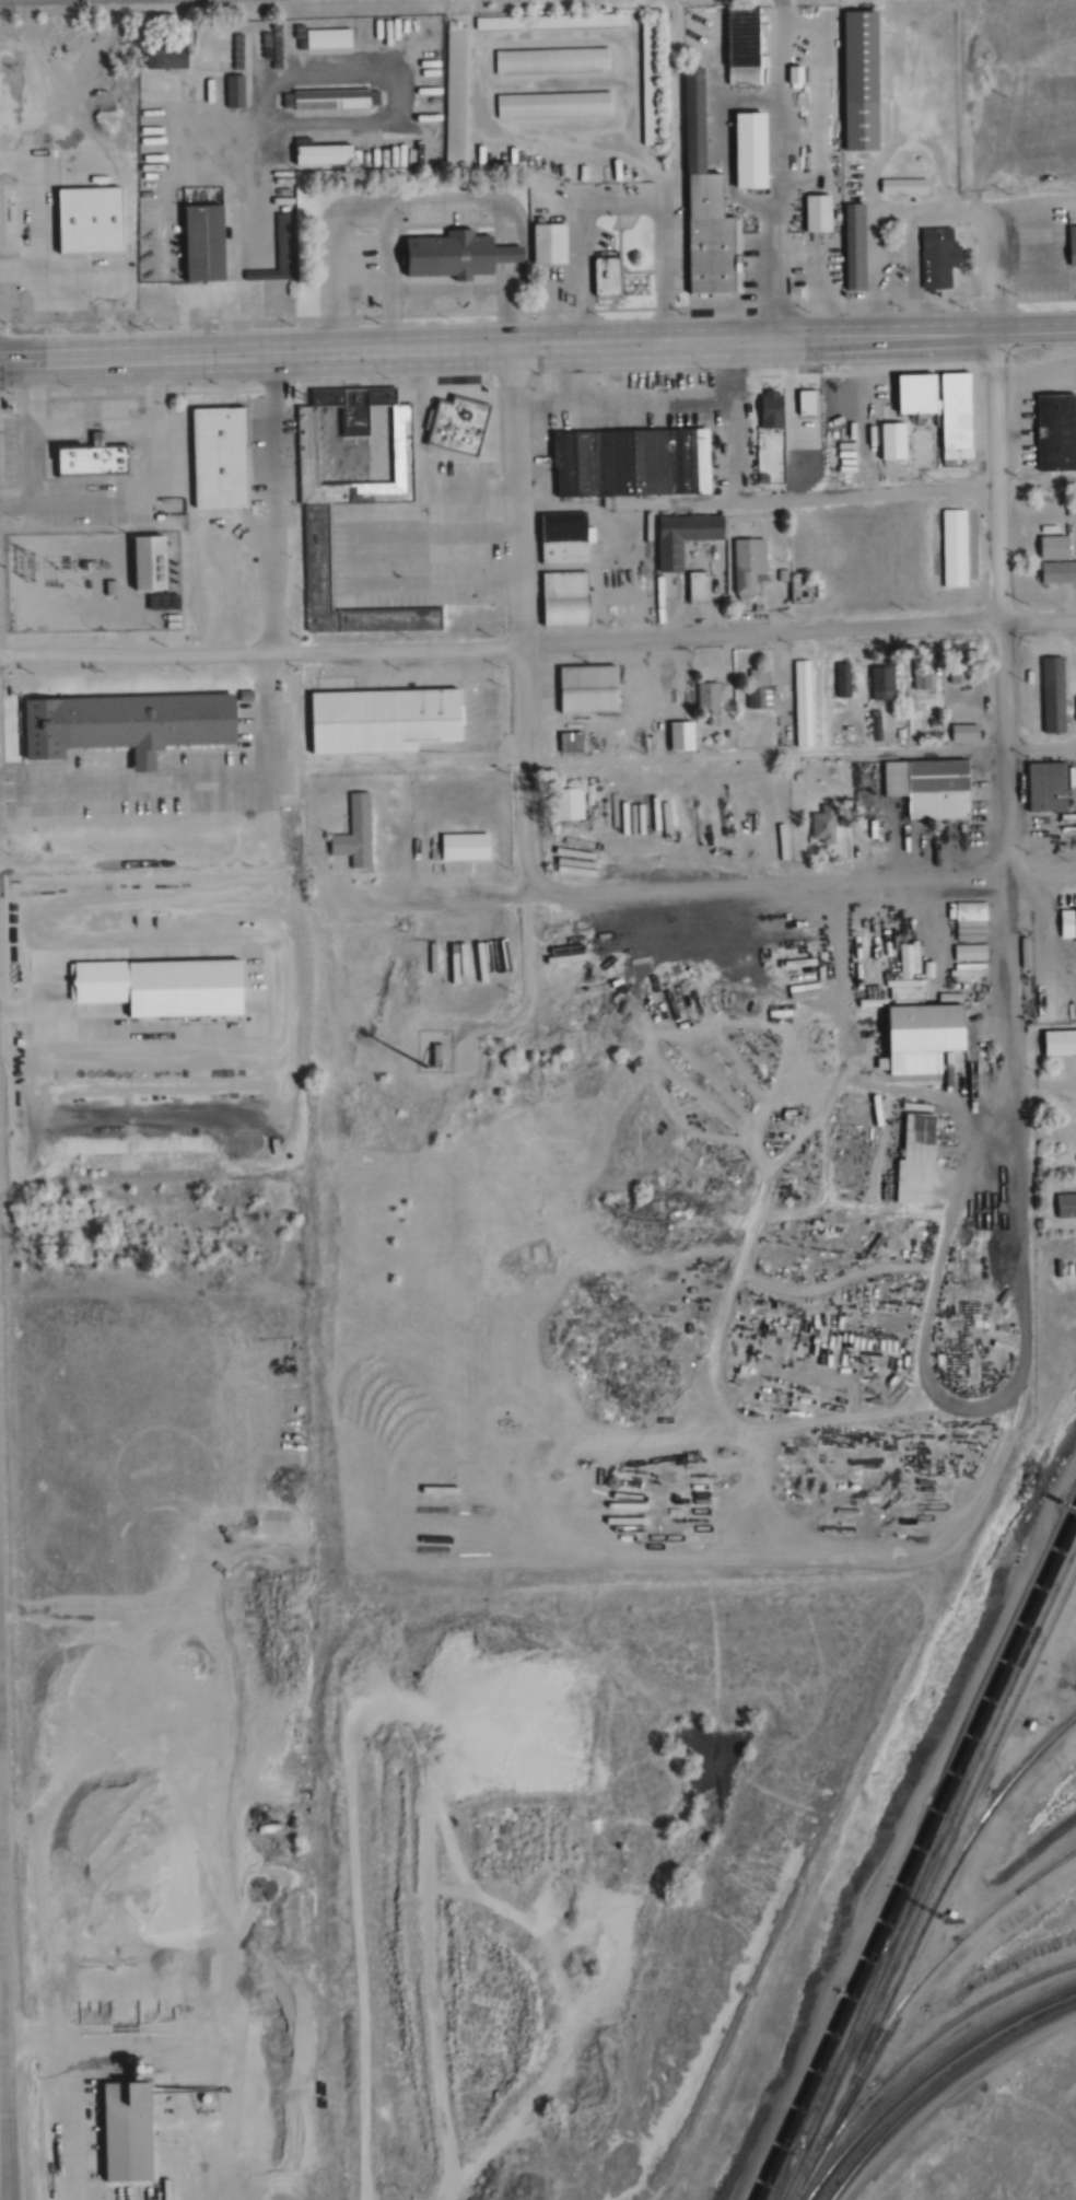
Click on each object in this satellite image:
building: (552, 21)
building: (330, 37)
building: (747, 46)
building: (169, 56)
building: (553, 60)
building: (863, 80)
building: (653, 83)
building: (232, 91)
building: (457, 94)
building: (332, 98)
building: (554, 105)
building: (757, 150)
building: (327, 154)
building: (905, 185)
building: (710, 205)
road: (877, 211)
building: (821, 212)
building: (553, 242)
building: (208, 243)
building: (1074, 243)
building: (857, 246)
building: (282, 252)
building: (461, 254)
building: (941, 257)
building: (608, 276)
road: (936, 325)
road: (398, 341)
street lamp: (68, 388)
building: (946, 406)
building: (774, 409)
building: (461, 426)
building: (1056, 432)
building: (101, 439)
building: (792, 451)
building: (93, 461)
building: (634, 463)
road: (759, 497)
building: (198, 515)
building: (568, 537)
building: (685, 544)
building: (957, 547)
building: (1057, 547)
building: (317, 556)
road: (1002, 560)
building: (151, 563)
building: (752, 564)
power tower: (1, 566)
power tower: (28, 567)
building: (1060, 571)
power substation: (92, 582)
building: (702, 587)
building: (804, 590)
building: (568, 598)
building: (288, 600)
road: (521, 617)
road: (1060, 637)
road: (538, 644)
building: (761, 677)
building: (925, 677)
building: (845, 679)
building: (887, 683)
building: (593, 689)
building: (1057, 695)
building: (712, 696)
building: (762, 698)
building: (806, 703)
building: (129, 722)
building: (968, 726)
building: (685, 736)
building: (573, 742)
road: (799, 753)
building: (150, 757)
building: (936, 787)
building: (1053, 787)
building: (571, 804)
building: (828, 824)
building: (355, 830)
building: (467, 848)
road: (339, 886)
road: (715, 887)
building: (1069, 924)
road: (1014, 976)
building: (911, 988)
building: (933, 1029)
building: (1063, 1043)
building: (924, 1138)
building: (1068, 1203)
road: (964, 1394)
railway: (967, 1718)
railway: (970, 1733)
railway: (952, 1820)
railway: (923, 1863)
railway: (1043, 1870)
railway: (911, 1941)
railway: (926, 1970)
road: (3, 2046)
railway: (920, 2047)
railway: (923, 2072)
railway: (814, 2082)
railway: (938, 2084)
railway: (798, 2129)

